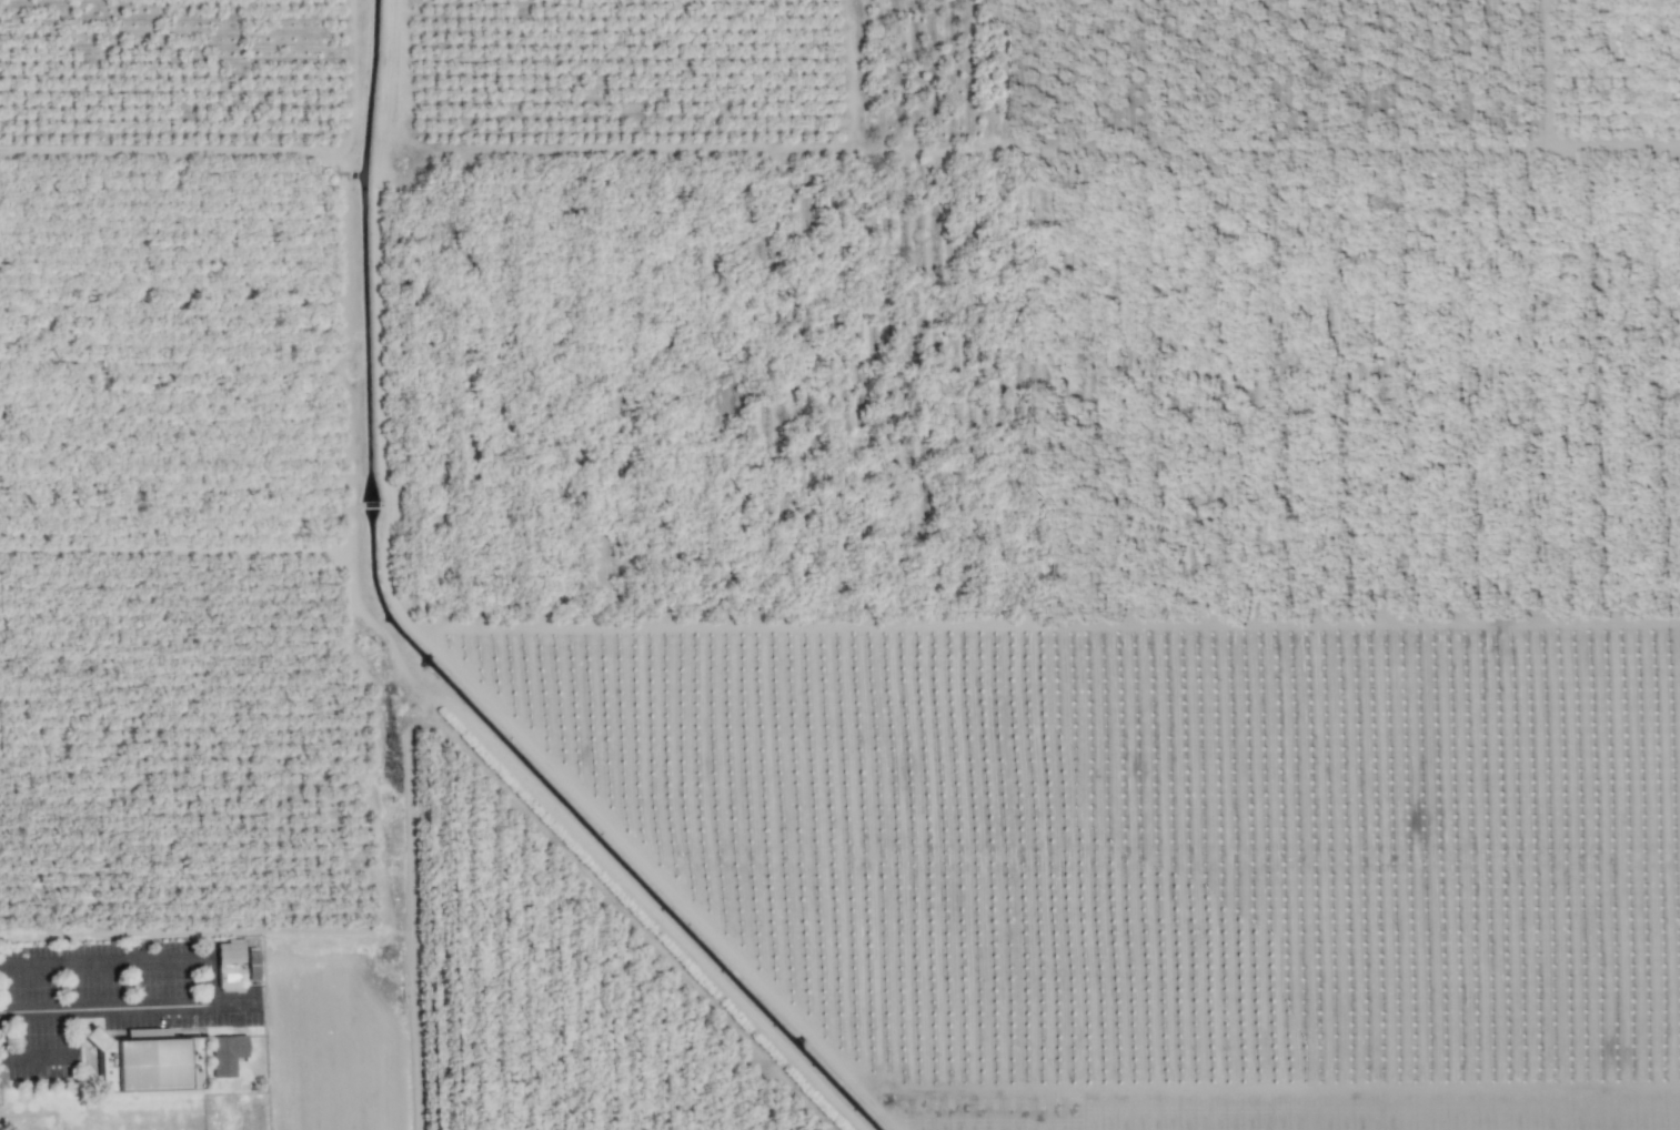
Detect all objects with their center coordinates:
building: (251, 963)
building: (229, 967)
road: (204, 983)
building: (225, 1055)
building: (144, 1061)

